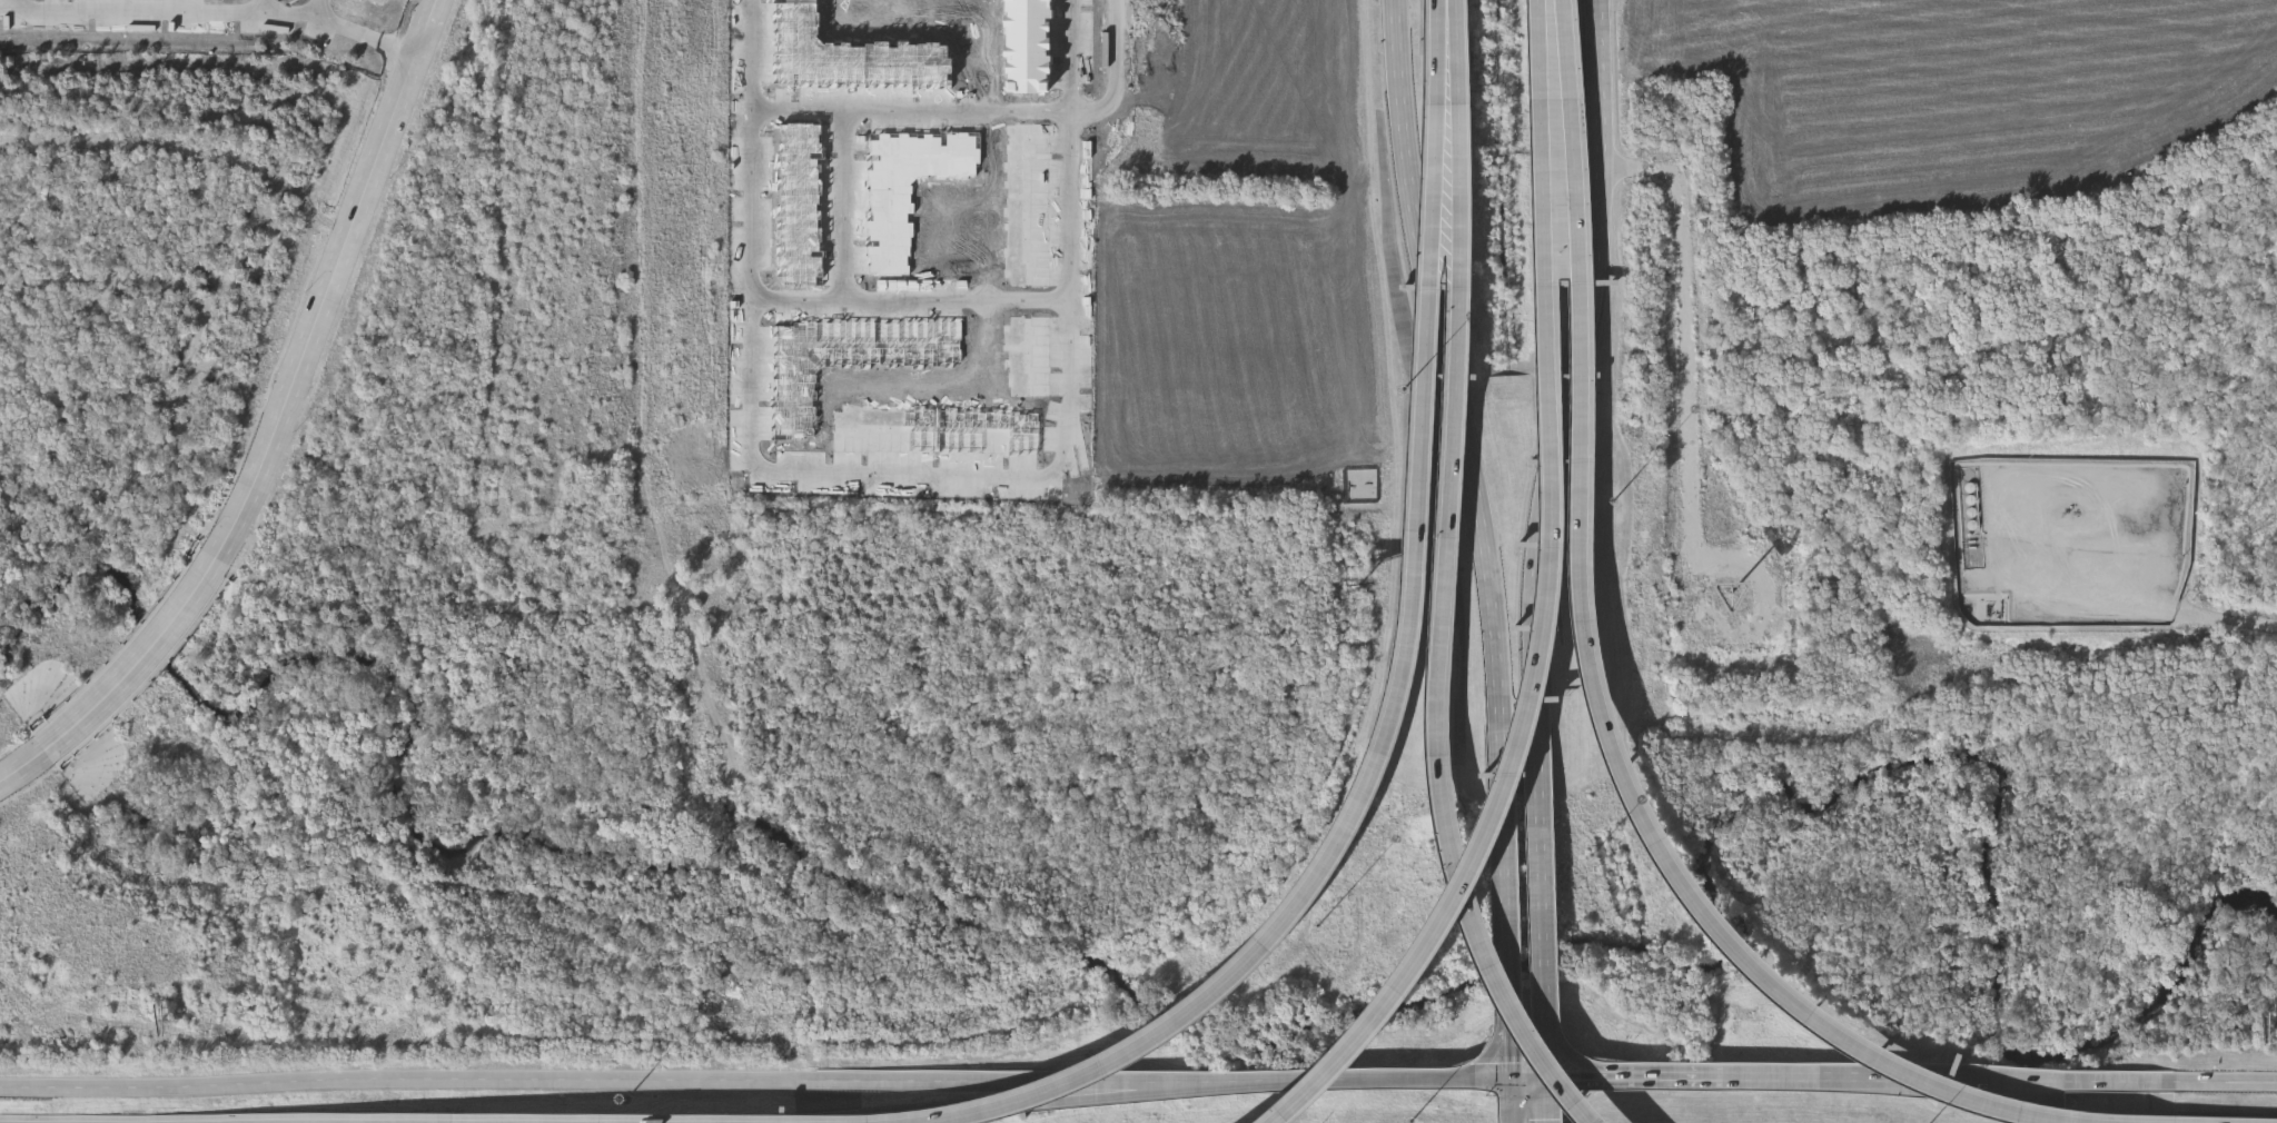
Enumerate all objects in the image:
road: (266, 6)
road: (319, 7)
road: (218, 11)
road: (1542, 50)
road: (1561, 50)
road: (1433, 52)
road: (1452, 52)
road: (140, 83)
road: (982, 107)
road: (281, 117)
road: (323, 122)
road: (315, 141)
road: (367, 151)
road: (307, 179)
road: (1573, 191)
road: (1542, 192)
road: (843, 203)
road: (161, 270)
road: (331, 281)
road: (909, 299)
road: (227, 337)
road: (1446, 361)
road: (1581, 361)
road: (1689, 371)
road: (115, 457)
road: (909, 471)
road: (2228, 620)
road: (1441, 633)
road: (158, 650)
road: (1383, 728)
road: (1518, 742)
road: (42, 761)
road: (1647, 834)
road: (1506, 838)
road: (1548, 898)
road: (1509, 1016)
road: (1623, 1066)
road: (1845, 1073)
road: (1617, 1075)
traffic signals: (1511, 1076)
traffic signals: (1550, 1076)
road: (1403, 1077)
road: (518, 1080)
road: (1166, 1080)
road: (2073, 1080)
road: (2228, 1082)
road: (1164, 1091)
road: (1511, 1100)
road: (1550, 1100)
road: (917, 1113)

